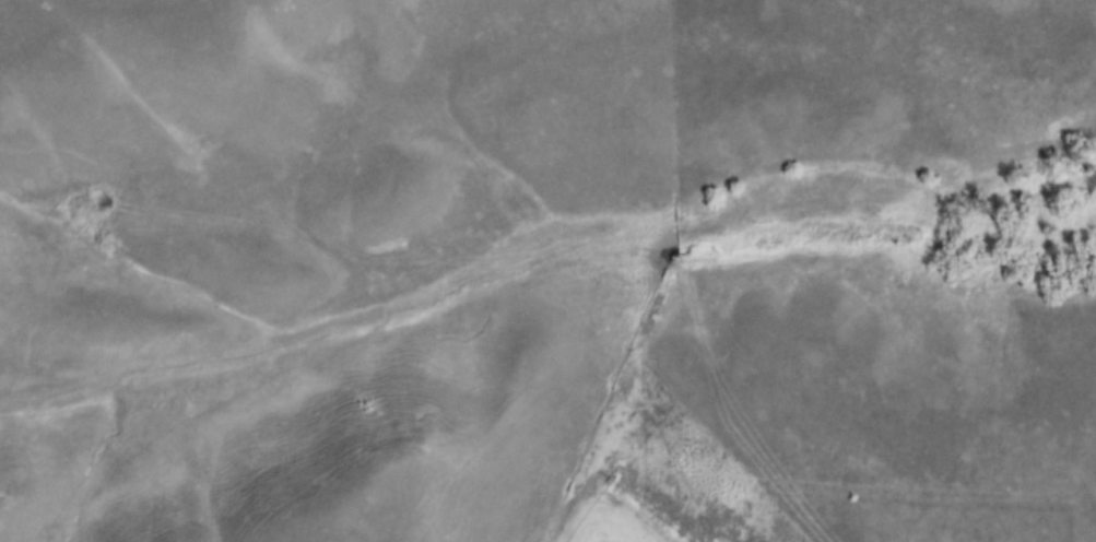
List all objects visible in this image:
crop: (660, 480)

